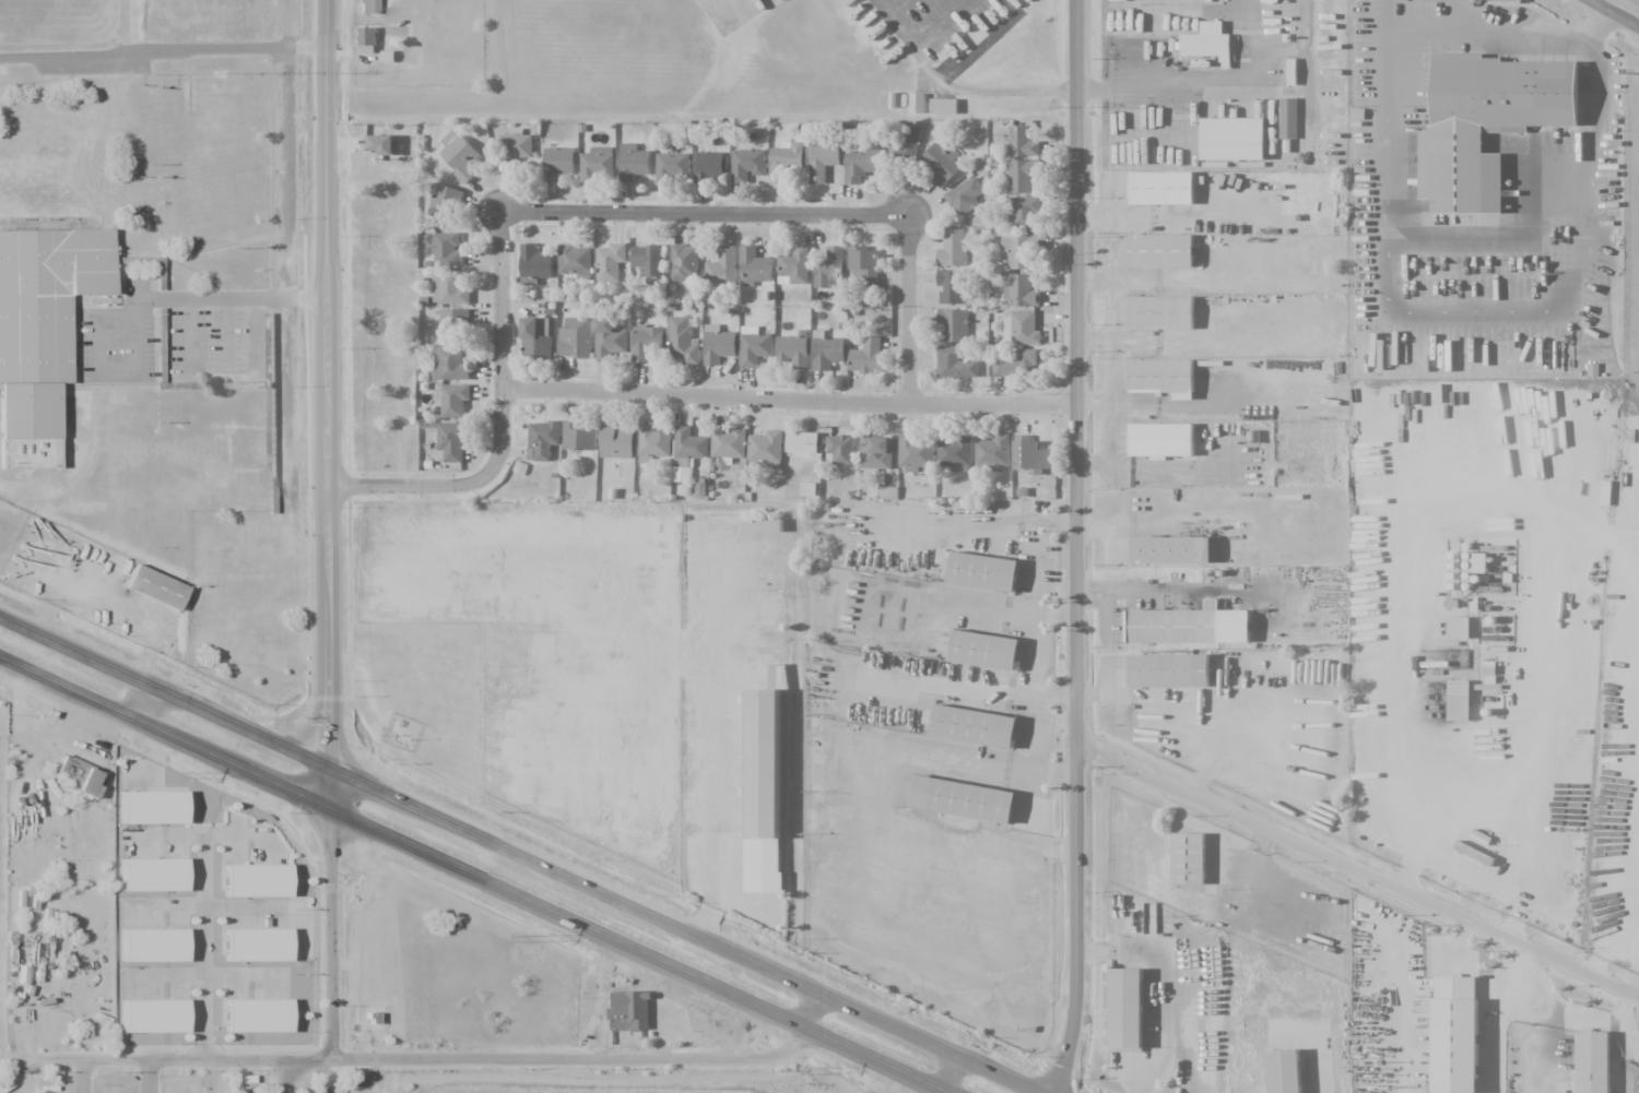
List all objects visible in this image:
building: (847, 2)
building: (367, 7)
road: (1615, 12)
building: (367, 39)
building: (1207, 43)
road: (161, 50)
road: (1196, 74)
power tower: (1637, 74)
building: (917, 103)
building: (944, 106)
building: (1288, 118)
building: (1487, 123)
building: (1240, 139)
building: (906, 142)
building: (1022, 142)
building: (386, 144)
building: (515, 147)
building: (459, 154)
building: (785, 159)
building: (823, 159)
building: (633, 162)
building: (558, 163)
building: (598, 164)
building: (747, 164)
building: (860, 164)
building: (942, 164)
building: (710, 165)
building: (50, 167)
building: (672, 168)
building: (1022, 174)
building: (1168, 190)
building: (965, 195)
building: (445, 202)
building: (1025, 211)
road: (701, 212)
building: (952, 248)
building: (447, 249)
building: (1167, 252)
building: (576, 260)
building: (610, 261)
building: (649, 261)
building: (684, 262)
building: (534, 264)
building: (722, 265)
building: (795, 265)
building: (863, 265)
building: (755, 266)
building: (829, 268)
building: (951, 286)
building: (449, 290)
building: (1021, 290)
building: (49, 298)
road: (906, 311)
building: (1166, 314)
building: (453, 322)
building: (954, 324)
building: (1022, 326)
building: (576, 336)
building: (536, 337)
building: (611, 337)
building: (683, 340)
building: (646, 341)
building: (718, 344)
building: (755, 348)
building: (793, 351)
building: (827, 353)
building: (866, 356)
building: (450, 363)
building: (955, 364)
building: (1017, 364)
building: (1167, 379)
building: (452, 399)
road: (787, 401)
road: (323, 403)
building: (35, 415)
road: (500, 425)
building: (579, 435)
building: (542, 439)
building: (452, 441)
building: (615, 441)
building: (728, 441)
building: (802, 441)
building: (1168, 442)
building: (652, 443)
building: (839, 449)
building: (766, 450)
building: (686, 451)
building: (875, 452)
building: (917, 452)
building: (993, 452)
building: (955, 453)
building: (1030, 455)
building: (763, 524)
road: (1075, 547)
building: (1179, 554)
building: (992, 579)
building: (162, 591)
building: (1459, 627)
building: (1179, 630)
building: (993, 654)
building: (1176, 674)
building: (1459, 700)
road: (140, 702)
building: (981, 730)
building: (773, 771)
power tower: (170, 775)
building: (81, 777)
building: (970, 804)
building: (158, 811)
road: (518, 854)
building: (1192, 863)
road: (1357, 870)
road: (476, 875)
building: (158, 877)
building: (263, 884)
road: (328, 931)
power tower: (526, 938)
road: (204, 948)
building: (263, 948)
building: (160, 950)
road: (1171, 982)
building: (630, 1010)
building: (1132, 1012)
building: (157, 1019)
building: (261, 1019)
building: (1465, 1048)
road: (426, 1057)
road: (1325, 1064)
building: (1600, 1065)
power tower: (818, 1073)
road: (946, 1073)
building: (1290, 1073)
road: (24, 1077)
road: (81, 1077)
road: (145, 1078)
building: (244, 1079)
road: (281, 1079)
crop: (608, 1086)
building: (240, 1088)

